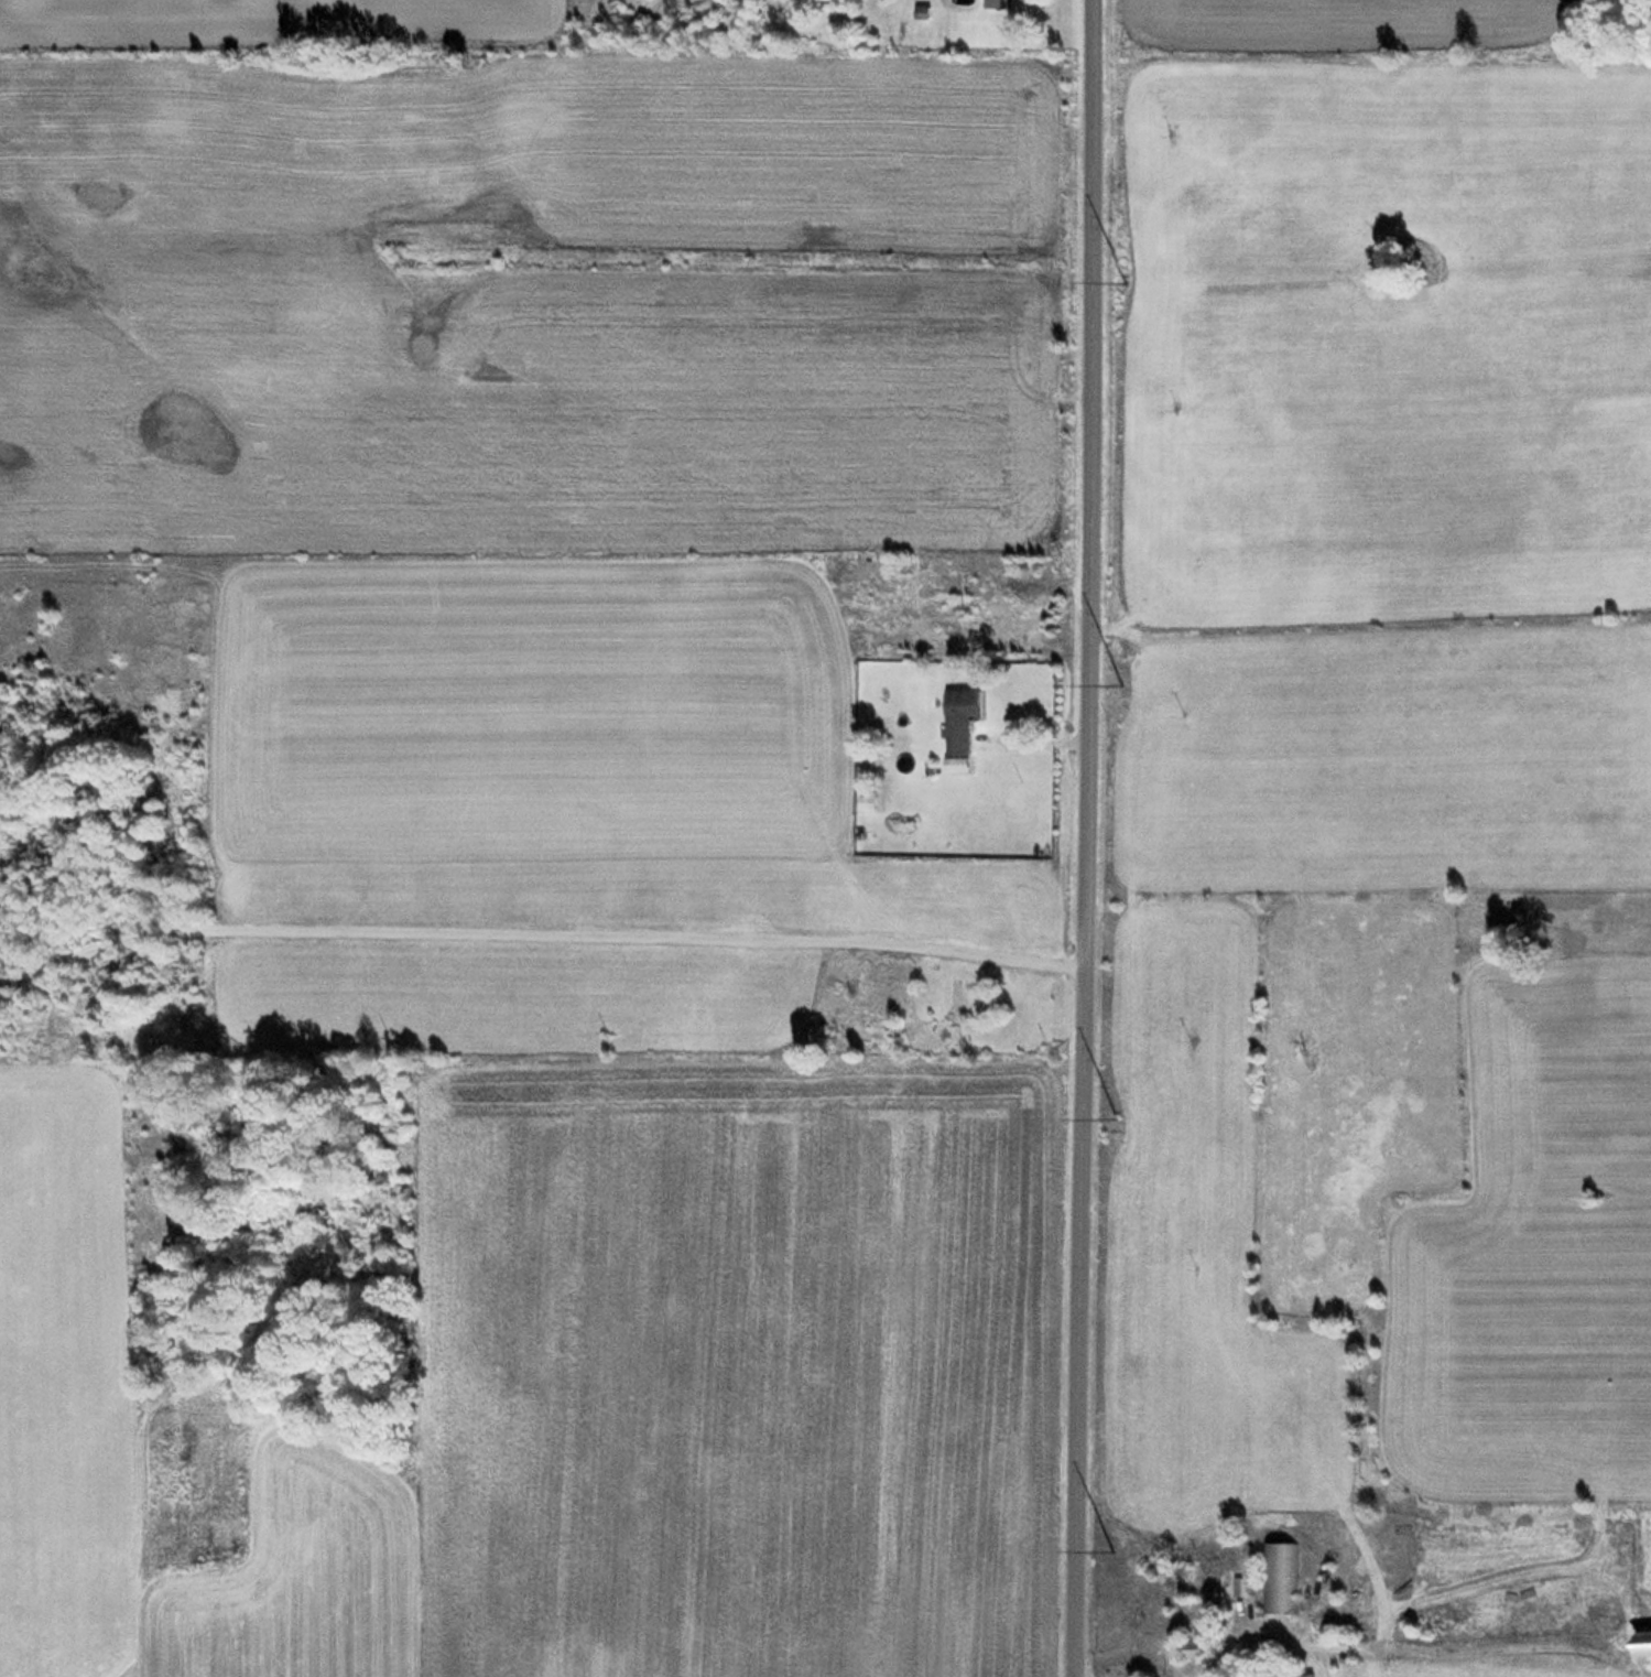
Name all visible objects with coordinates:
building: (993, 4)
building: (960, 595)
building: (957, 722)
road: (1079, 837)
building: (953, 1005)
building: (1280, 1579)
building: (1640, 1644)
building: (1308, 1676)

